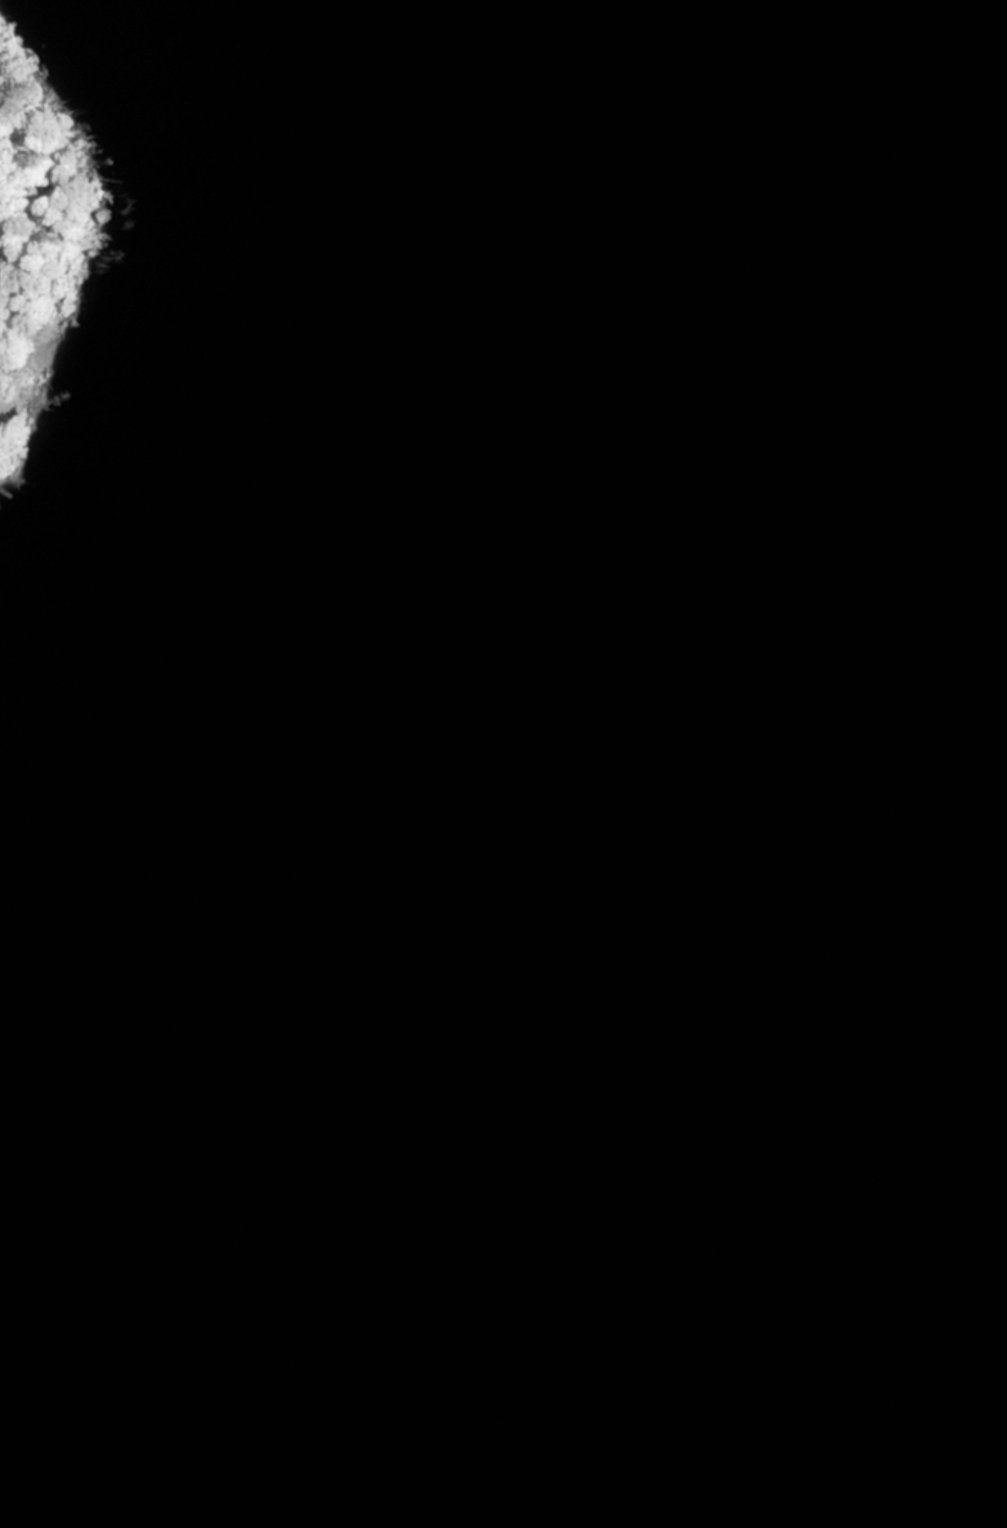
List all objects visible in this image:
road: (33, 319)

